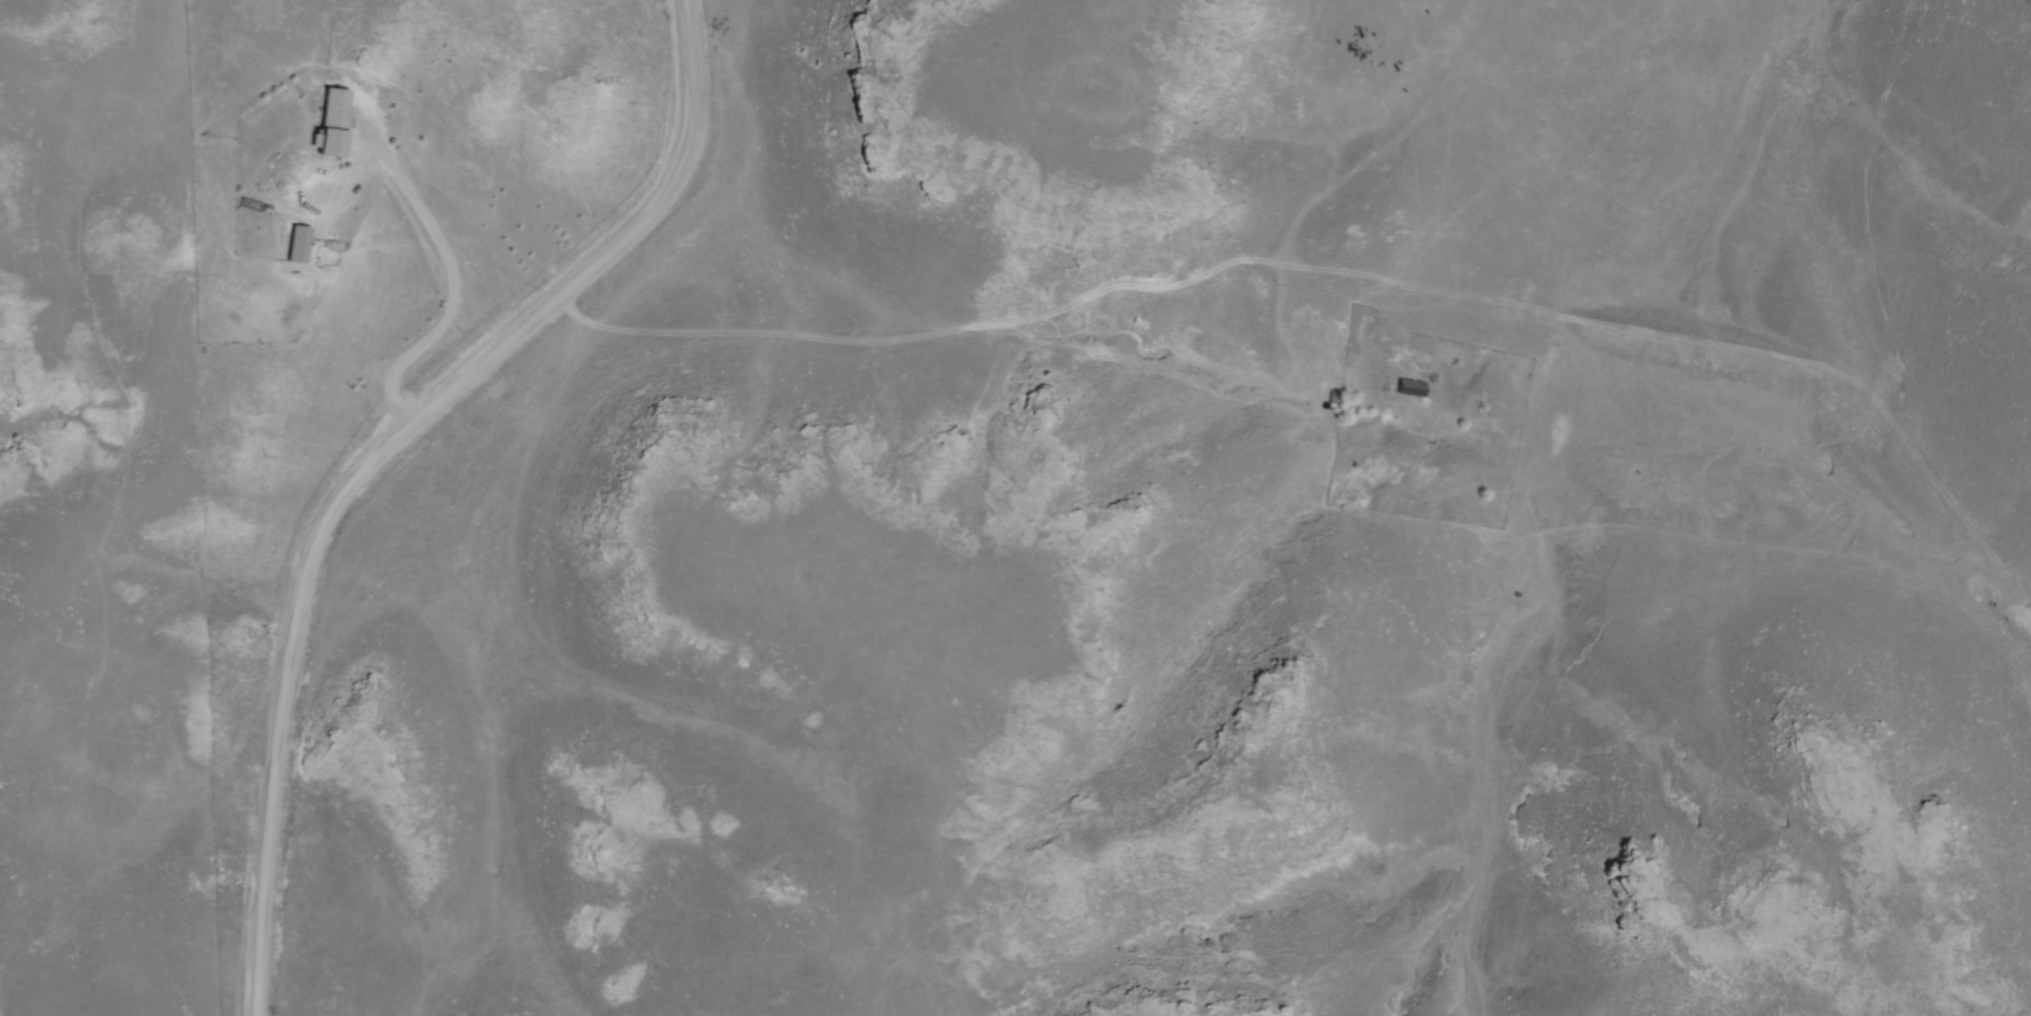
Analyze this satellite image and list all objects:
building: (328, 126)
building: (301, 240)
road: (448, 285)
dam: (1685, 345)
building: (1410, 386)
road: (374, 454)

